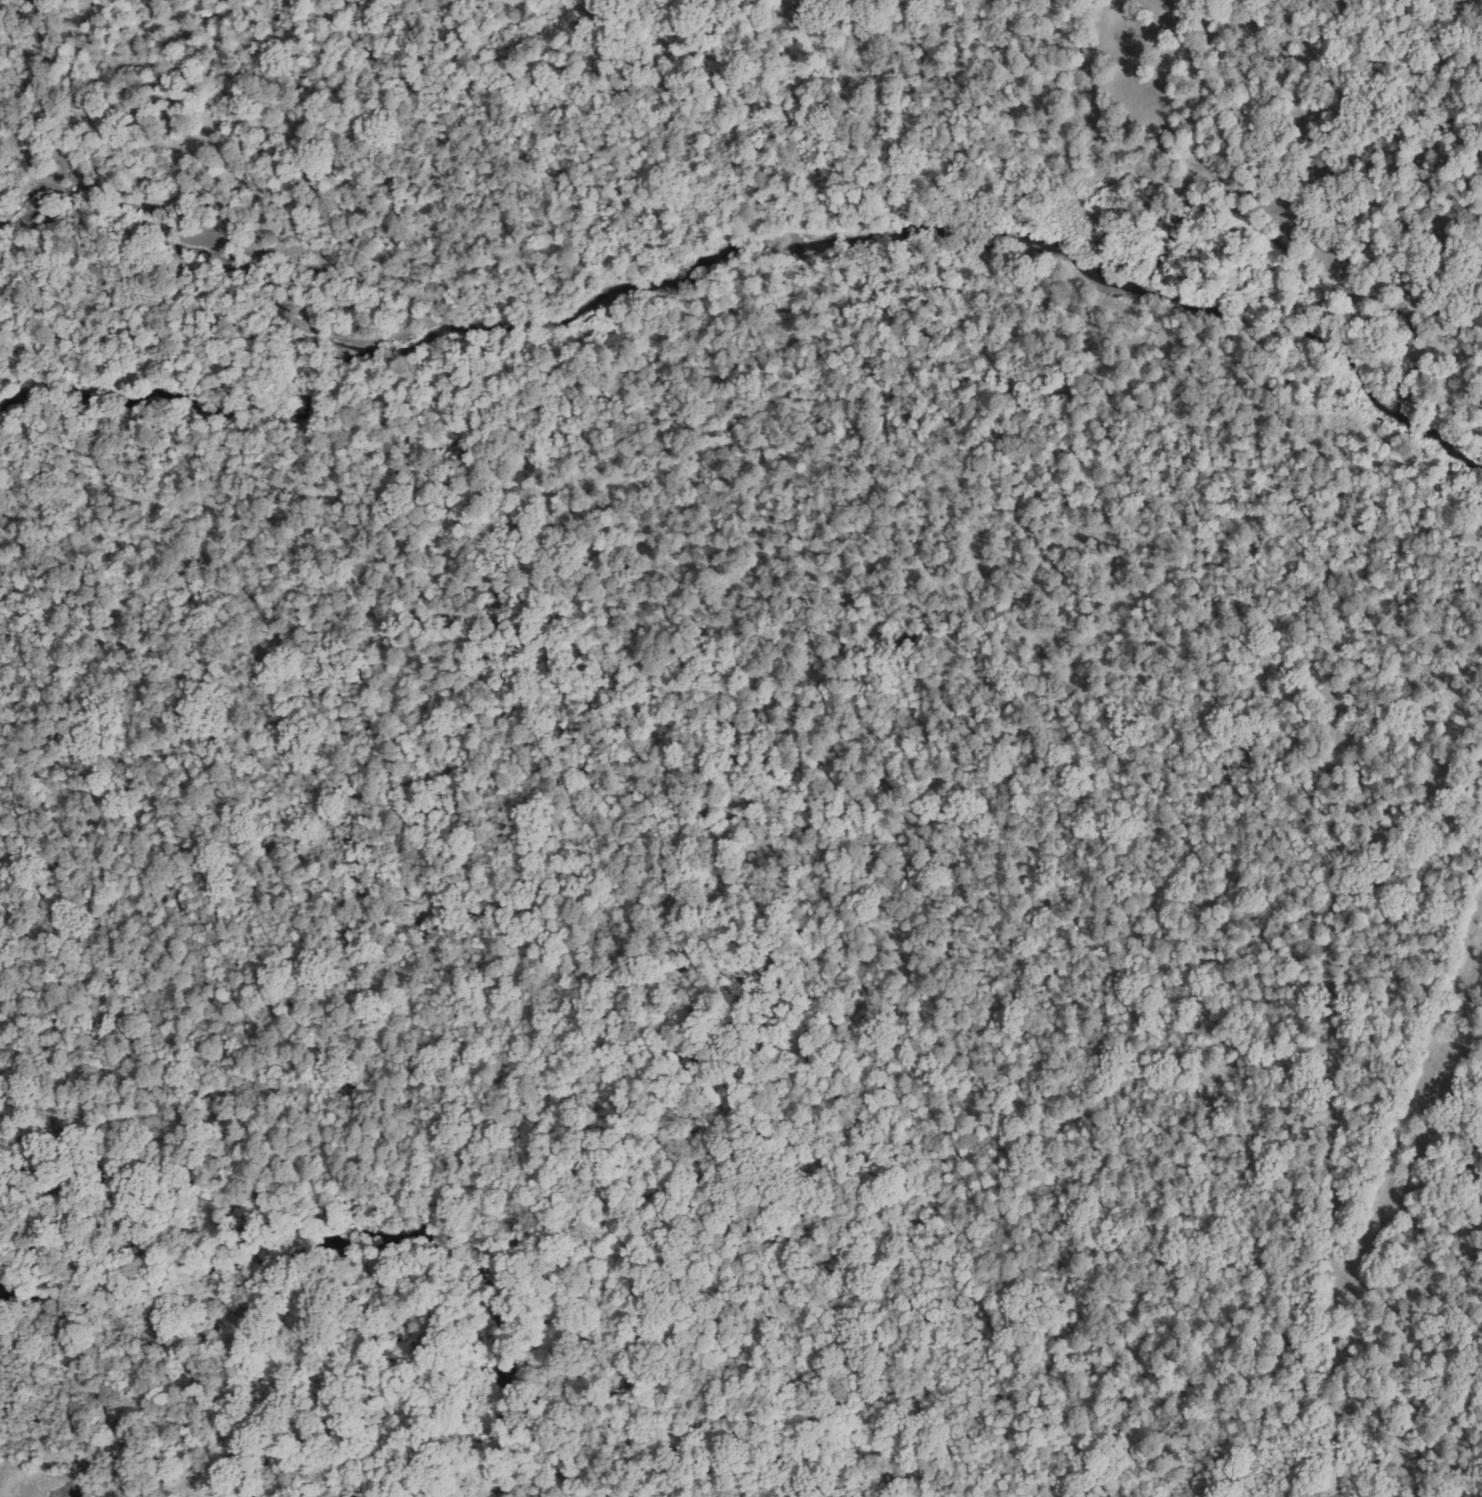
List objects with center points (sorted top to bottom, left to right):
river: (347, 1237)

